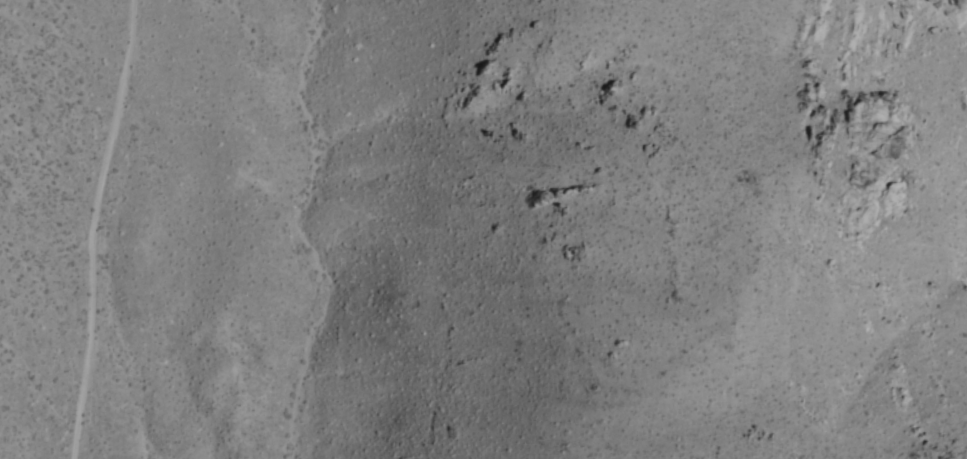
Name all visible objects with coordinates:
road: (96, 228)

